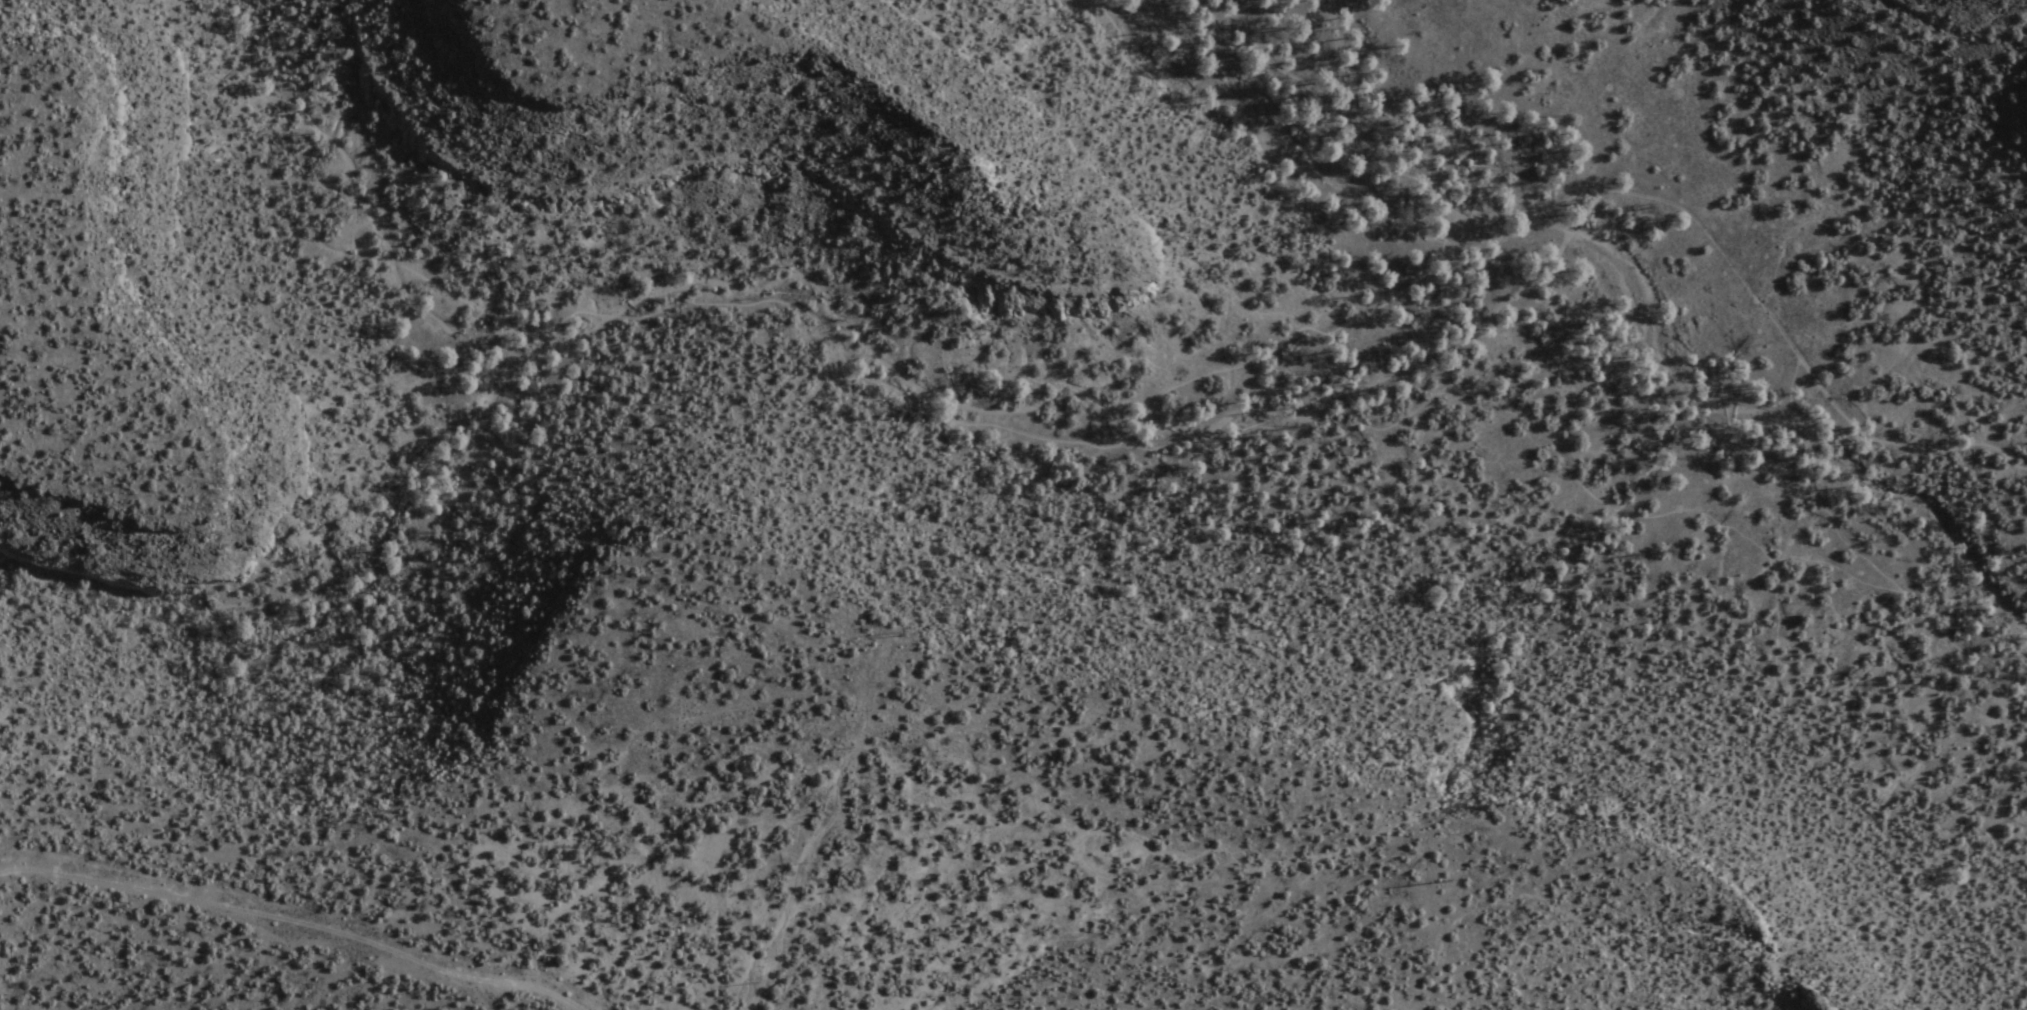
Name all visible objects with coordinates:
road: (1457, 236)
road: (793, 308)
road: (1919, 446)
road: (1728, 527)
road: (1928, 533)
road: (1876, 576)
road: (1848, 593)
road: (1573, 919)
road: (290, 926)

